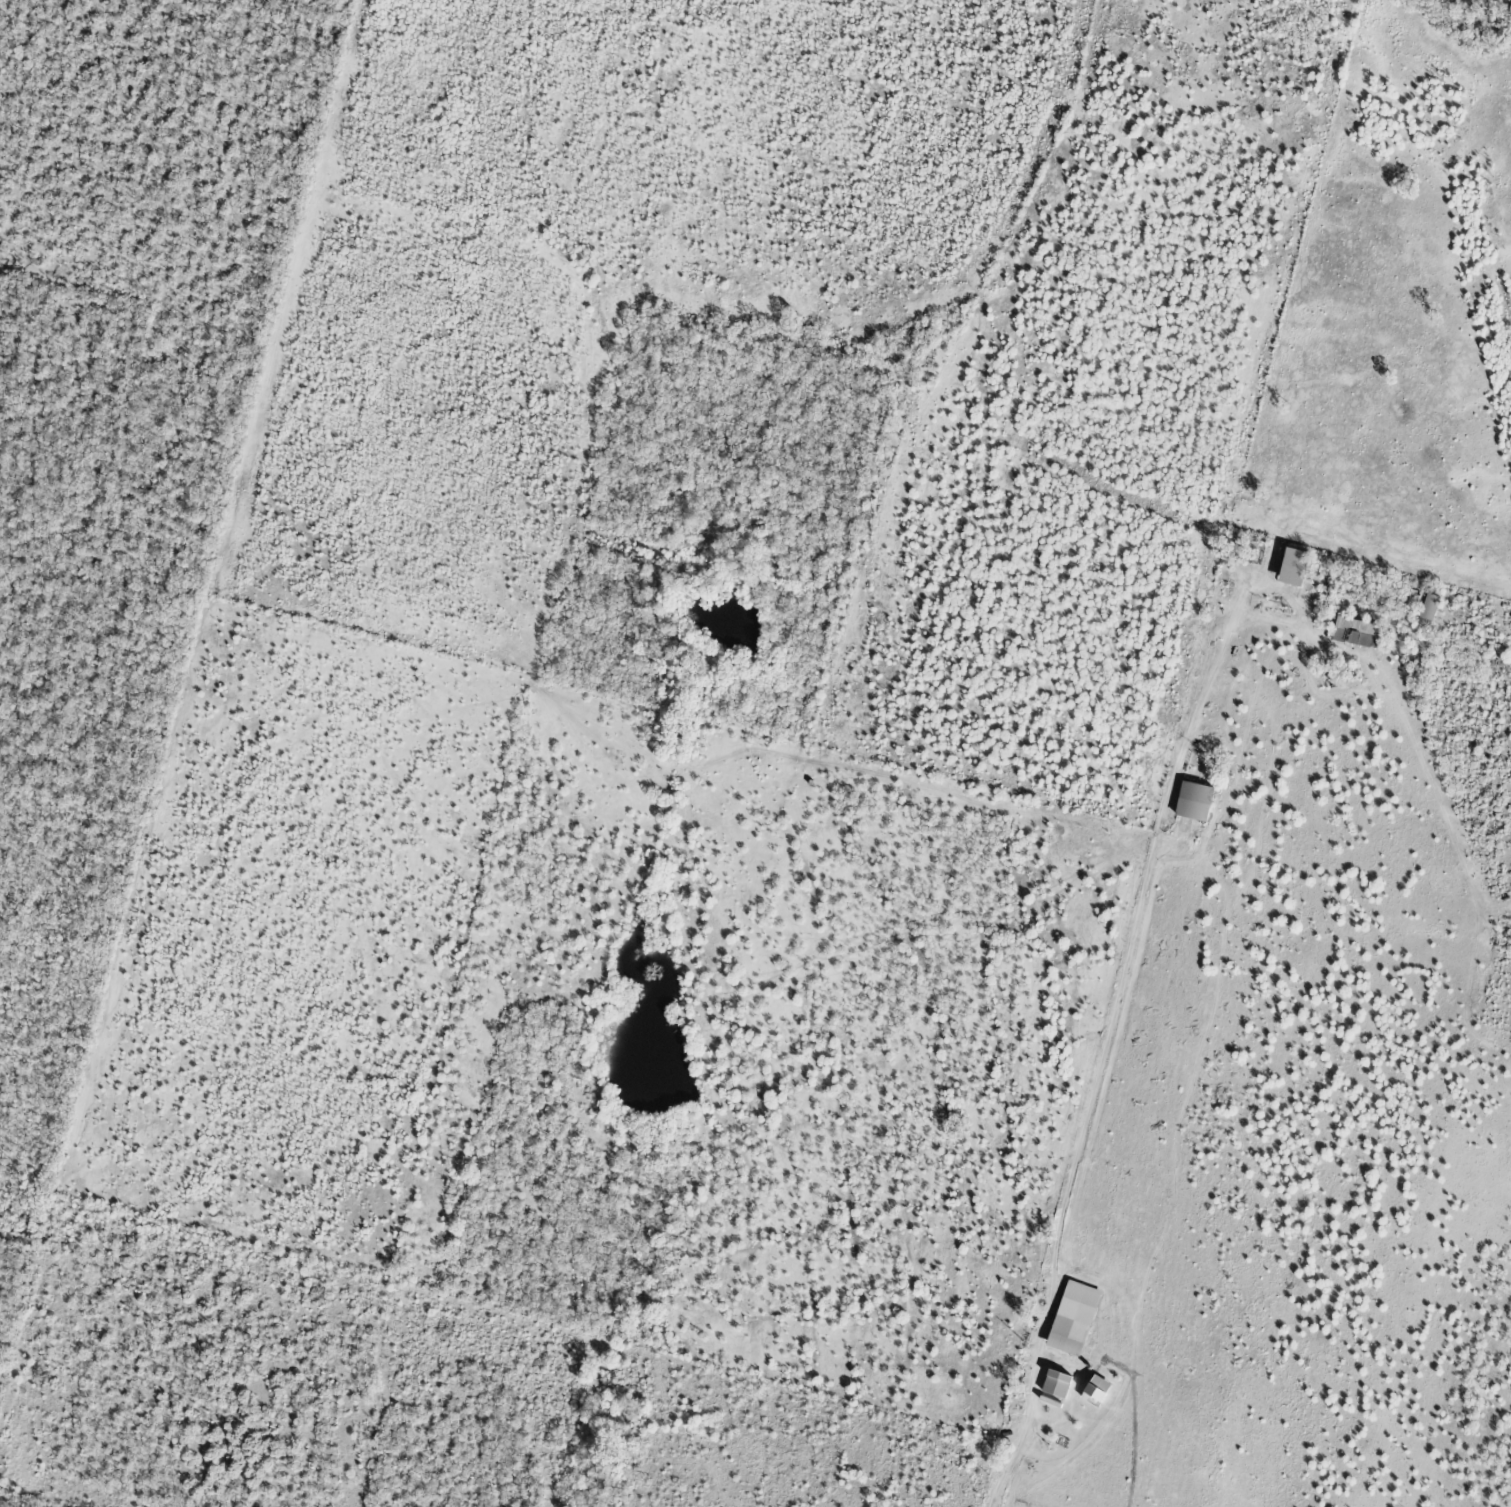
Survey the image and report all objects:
building: (1294, 567)
building: (1430, 607)
building: (1357, 633)
building: (1194, 802)
road: (1141, 897)
building: (1074, 1318)
building: (1057, 1384)
building: (1097, 1390)

